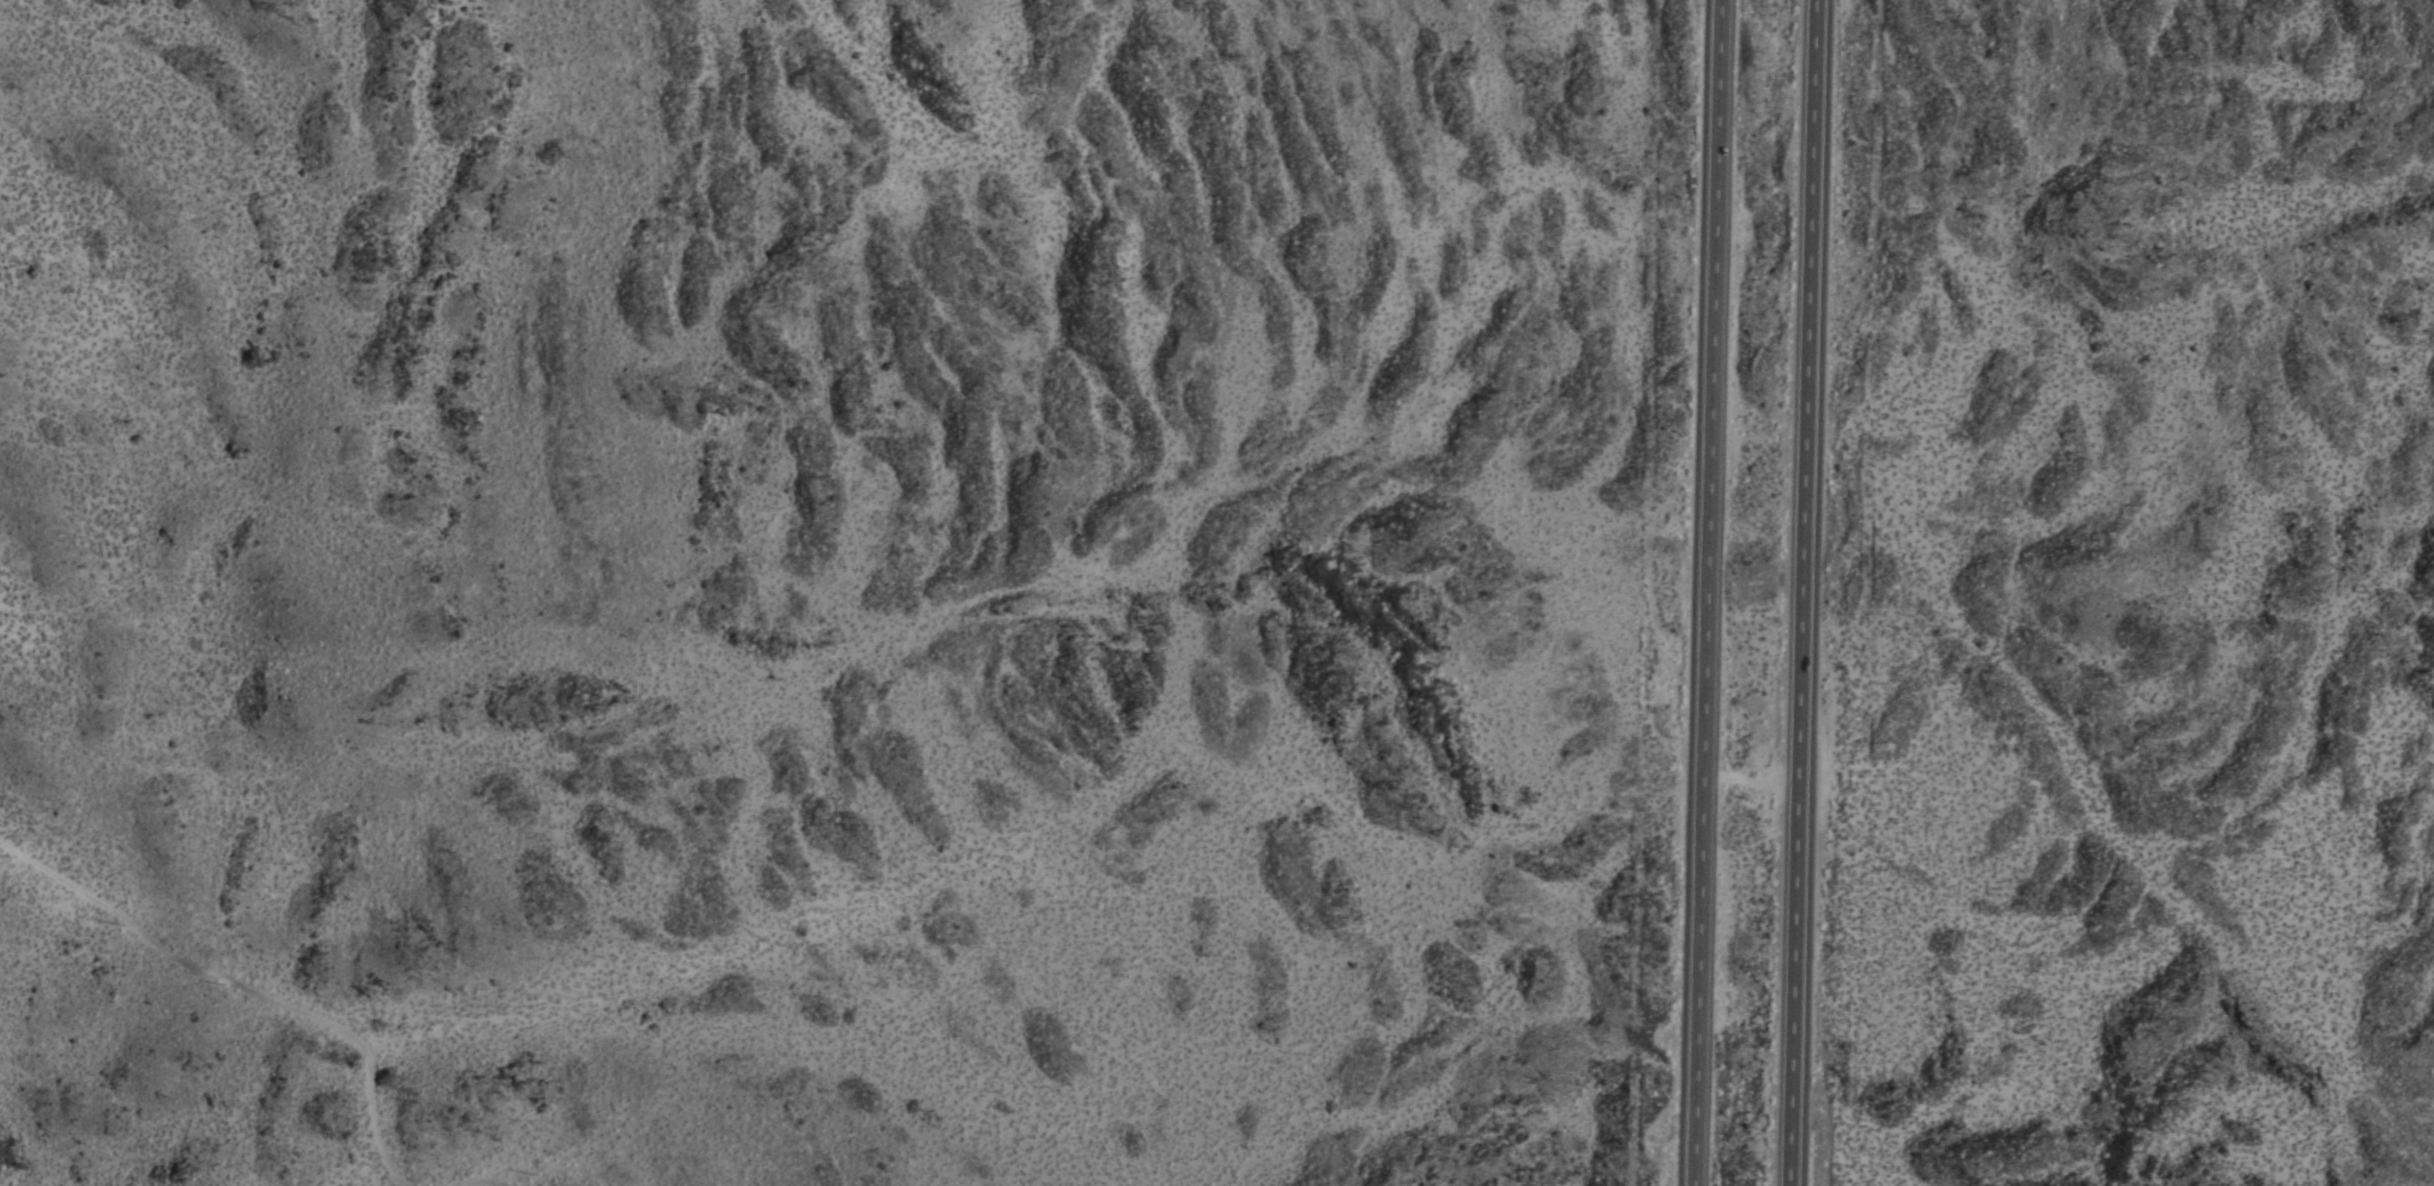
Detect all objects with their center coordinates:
road: (1708, 593)
road: (1810, 593)
road: (246, 988)

